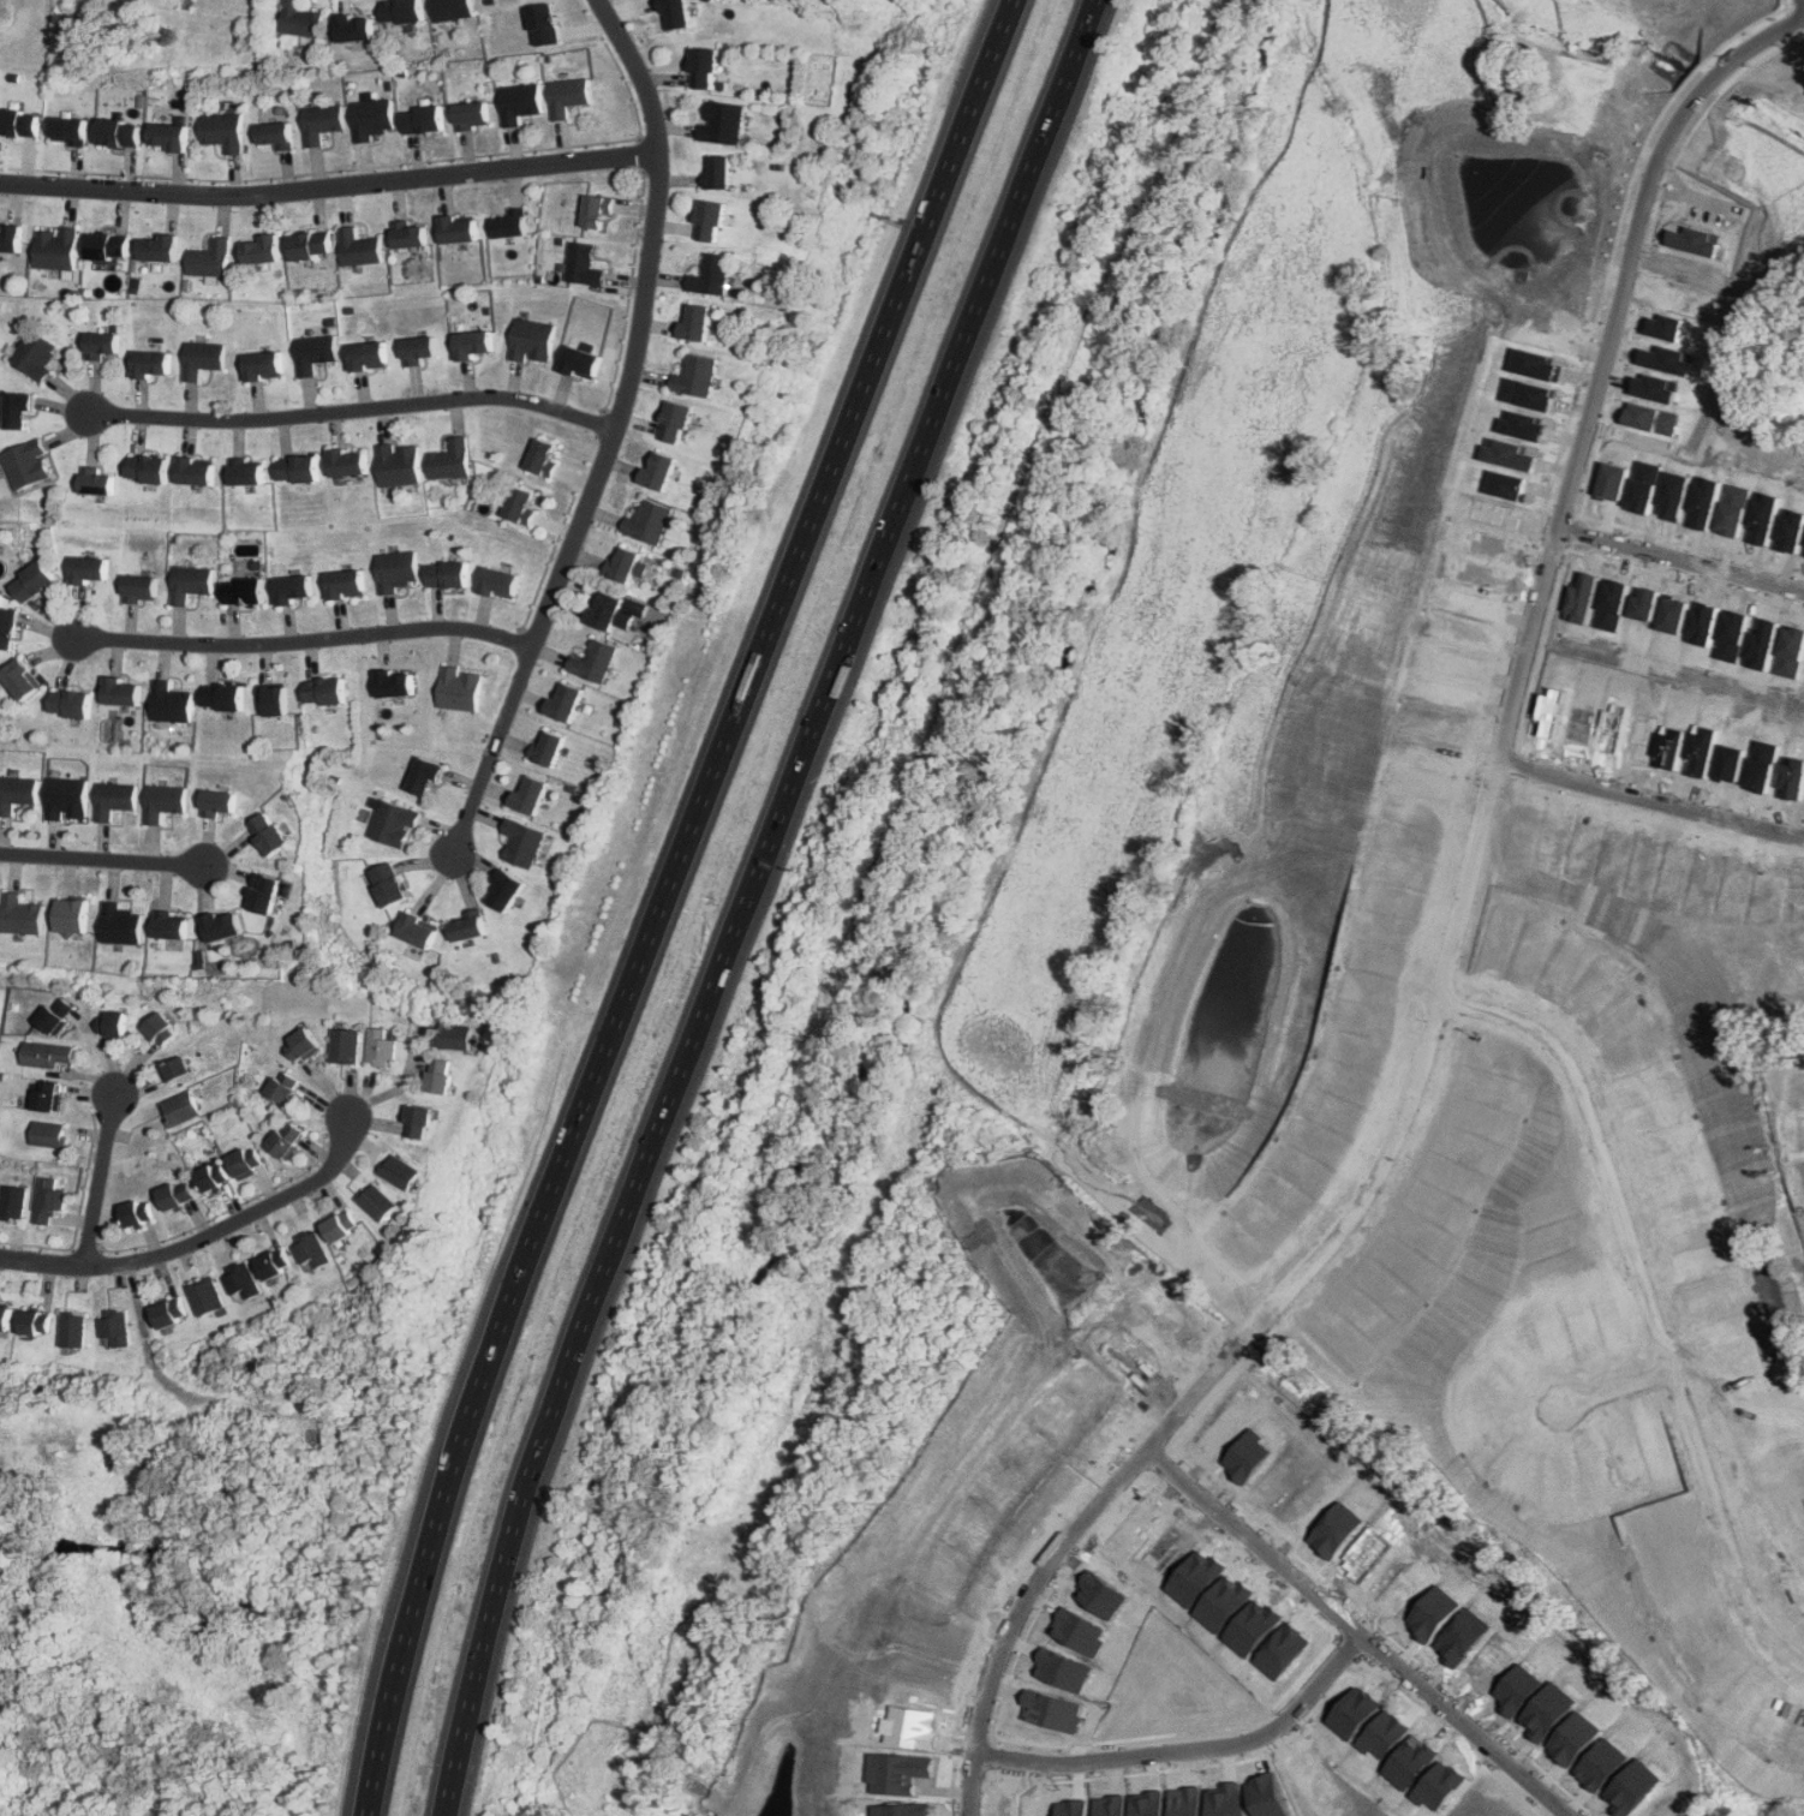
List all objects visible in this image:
road: (1794, 5)
building: (450, 8)
building: (401, 11)
building: (674, 14)
building: (300, 19)
road: (1793, 24)
building: (543, 25)
building: (354, 29)
road: (1802, 38)
building: (703, 67)
building: (568, 95)
building: (519, 101)
building: (472, 114)
building: (371, 118)
building: (422, 119)
road: (1702, 119)
building: (19, 121)
building: (322, 121)
building: (722, 121)
building: (67, 129)
building: (223, 130)
building: (118, 131)
building: (274, 133)
building: (168, 135)
road: (1654, 139)
building: (718, 172)
road: (329, 185)
building: (596, 211)
building: (709, 220)
building: (509, 223)
building: (458, 227)
building: (408, 232)
building: (10, 238)
building: (310, 244)
building: (107, 245)
building: (159, 246)
building: (359, 246)
building: (55, 247)
building: (262, 247)
building: (210, 258)
building: (583, 264)
building: (710, 275)
building: (694, 321)
building: (532, 340)
building: (472, 342)
building: (102, 344)
building: (418, 347)
building: (313, 352)
building: (35, 353)
building: (368, 354)
building: (202, 358)
building: (580, 362)
building: (151, 363)
building: (263, 364)
building: (695, 375)
road: (352, 406)
building: (18, 410)
road: (1607, 411)
building: (675, 420)
road: (616, 431)
building: (542, 456)
building: (450, 459)
building: (348, 461)
building: (26, 464)
building: (399, 464)
building: (147, 467)
building: (297, 467)
building: (657, 470)
building: (195, 471)
building: (245, 471)
building: (96, 480)
building: (521, 504)
road: (1564, 510)
building: (649, 520)
road: (1692, 543)
road: (1573, 551)
road: (1684, 557)
building: (628, 564)
road: (1531, 568)
building: (89, 569)
building: (396, 569)
building: (447, 573)
road: (1689, 580)
building: (32, 581)
building: (191, 581)
building: (498, 581)
building: (345, 584)
building: (139, 587)
building: (291, 587)
building: (243, 590)
building: (613, 611)
building: (7, 627)
road: (297, 638)
road: (1549, 651)
building: (593, 661)
building: (19, 679)
building: (394, 682)
building: (460, 688)
building: (324, 689)
building: (120, 691)
building: (223, 695)
building: (565, 700)
building: (169, 701)
building: (71, 703)
building: (274, 703)
road: (1505, 742)
building: (549, 747)
road: (1519, 766)
building: (424, 775)
road: (1498, 779)
road: (1663, 785)
building: (17, 791)
building: (530, 794)
building: (67, 798)
building: (114, 798)
building: (163, 801)
building: (219, 801)
road: (1655, 801)
road: (1659, 820)
building: (393, 823)
building: (268, 832)
road: (1501, 834)
building: (521, 842)
road: (103, 861)
building: (388, 884)
building: (504, 890)
building: (262, 892)
road: (663, 898)
road: (746, 900)
road: (1444, 913)
building: (22, 914)
building: (71, 915)
building: (119, 922)
building: (171, 925)
building: (222, 925)
building: (468, 925)
building: (417, 930)
road: (1454, 944)
road: (1450, 1011)
road: (1430, 1014)
building: (53, 1016)
building: (112, 1022)
building: (160, 1028)
building: (454, 1035)
road: (1509, 1040)
building: (300, 1043)
building: (345, 1046)
building: (381, 1047)
building: (46, 1055)
building: (177, 1069)
building: (438, 1075)
building: (282, 1086)
building: (47, 1095)
building: (180, 1109)
building: (417, 1122)
road: (1411, 1129)
building: (48, 1134)
building: (285, 1139)
building: (245, 1161)
building: (399, 1171)
road: (102, 1176)
building: (211, 1177)
building: (175, 1195)
building: (48, 1200)
building: (377, 1201)
building: (13, 1202)
building: (136, 1213)
building: (339, 1226)
road: (210, 1238)
building: (310, 1248)
building: (273, 1264)
building: (243, 1280)
building: (207, 1296)
road: (1651, 1298)
building: (169, 1313)
building: (5, 1318)
building: (35, 1322)
building: (115, 1328)
building: (73, 1330)
road: (1623, 1388)
road: (1364, 1630)
road: (1195, 1749)

